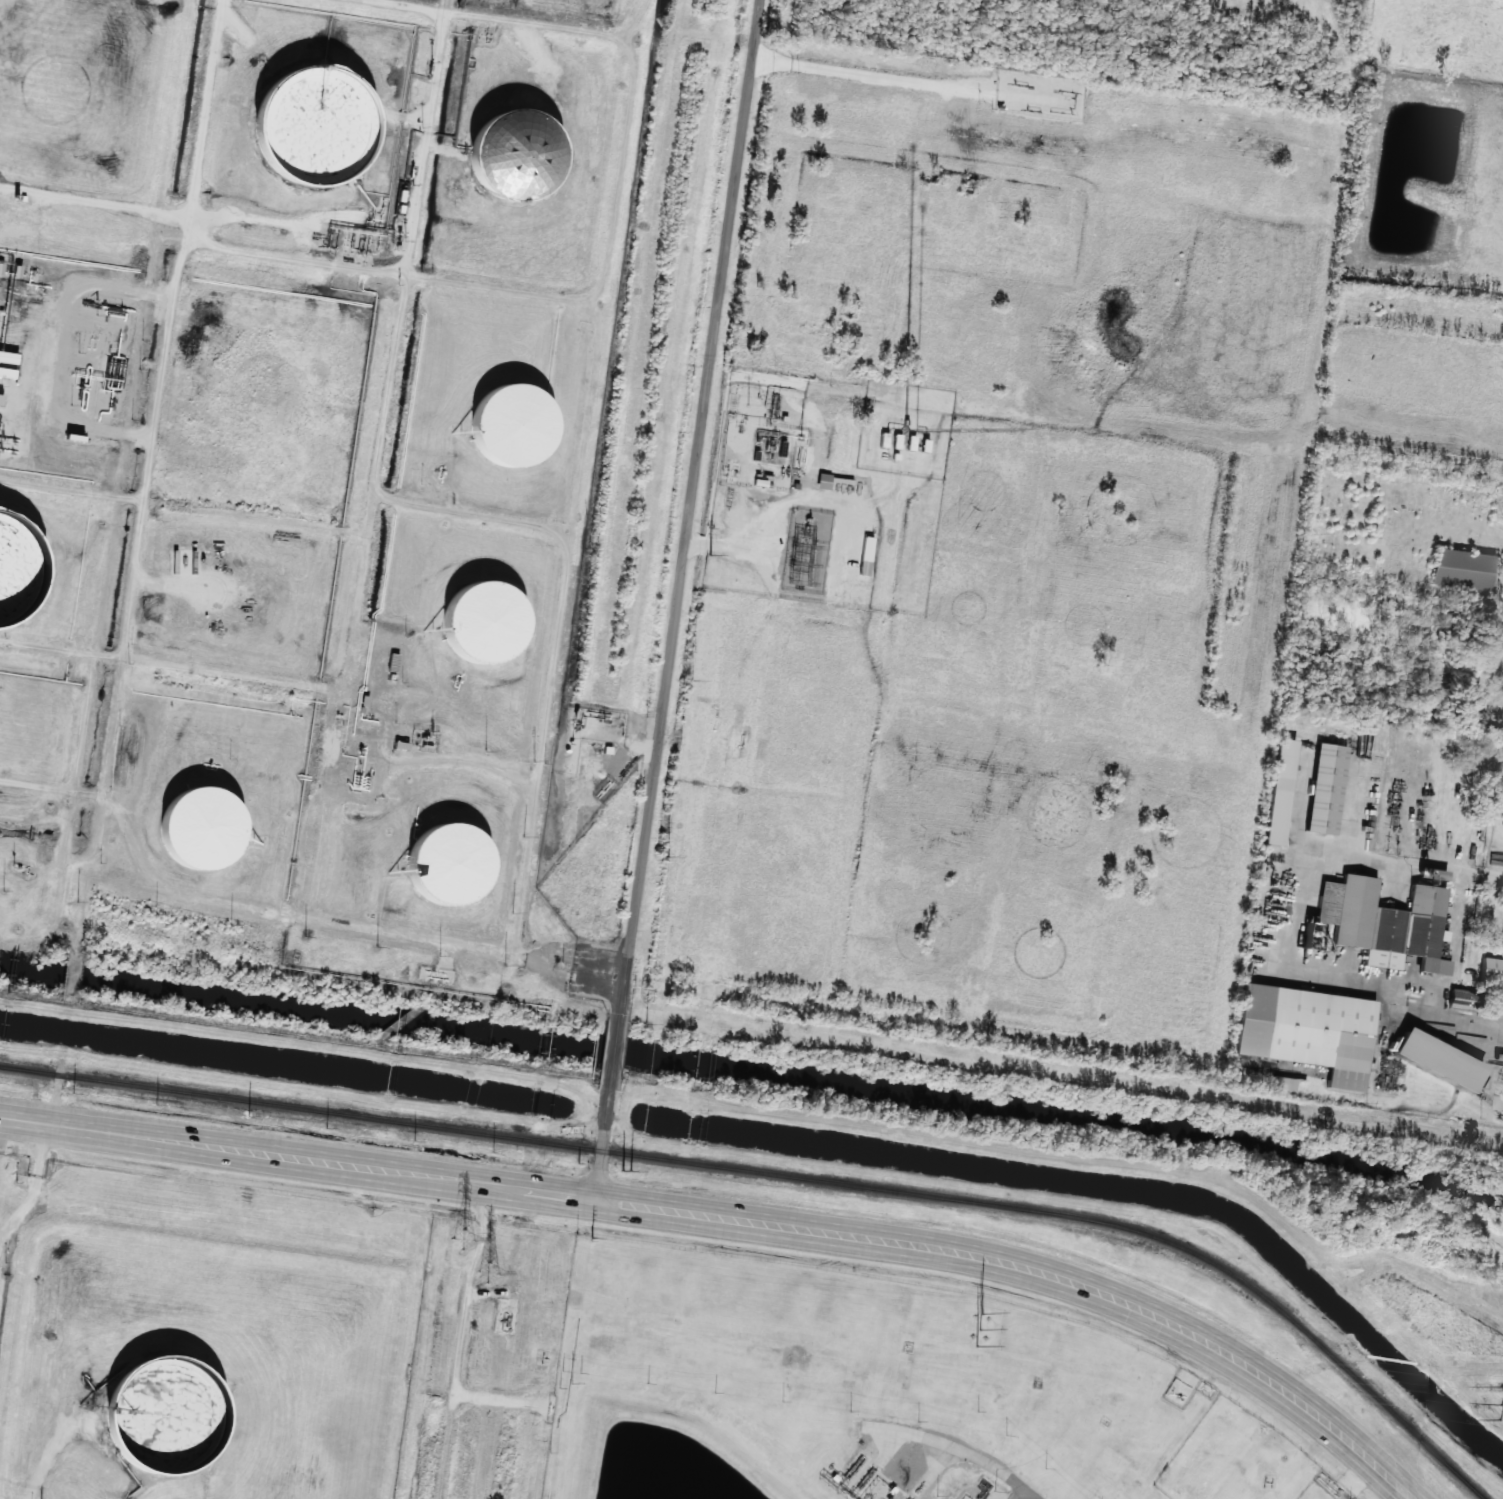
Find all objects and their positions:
road: (505, 17)
building: (307, 122)
storage tank: (307, 122)
building: (507, 157)
storage tank: (507, 157)
road: (93, 196)
building: (8, 364)
building: (1, 399)
building: (508, 425)
storage tank: (508, 425)
building: (884, 440)
building: (897, 441)
building: (911, 443)
road: (151, 452)
road: (568, 474)
building: (831, 485)
road: (372, 512)
power substation: (804, 550)
building: (1464, 569)
building: (13, 574)
storage tank: (13, 574)
road: (679, 599)
building: (477, 624)
storage tank: (477, 624)
building: (1324, 788)
building: (1279, 792)
building: (194, 831)
storage tank: (194, 831)
building: (441, 870)
storage tank: (441, 870)
road: (261, 906)
building: (1352, 908)
building: (1424, 920)
building: (1501, 945)
road: (600, 963)
building: (1492, 971)
building: (1462, 999)
building: (1303, 1027)
building: (705, 1058)
building: (1438, 1060)
building: (1283, 1084)
building: (1500, 1095)
railway: (767, 1173)
road: (738, 1219)
power tower: (462, 1239)
power tower: (979, 1330)
building: (154, 1420)
storage tank: (154, 1420)
railway: (1409, 1428)
road: (1024, 1495)

